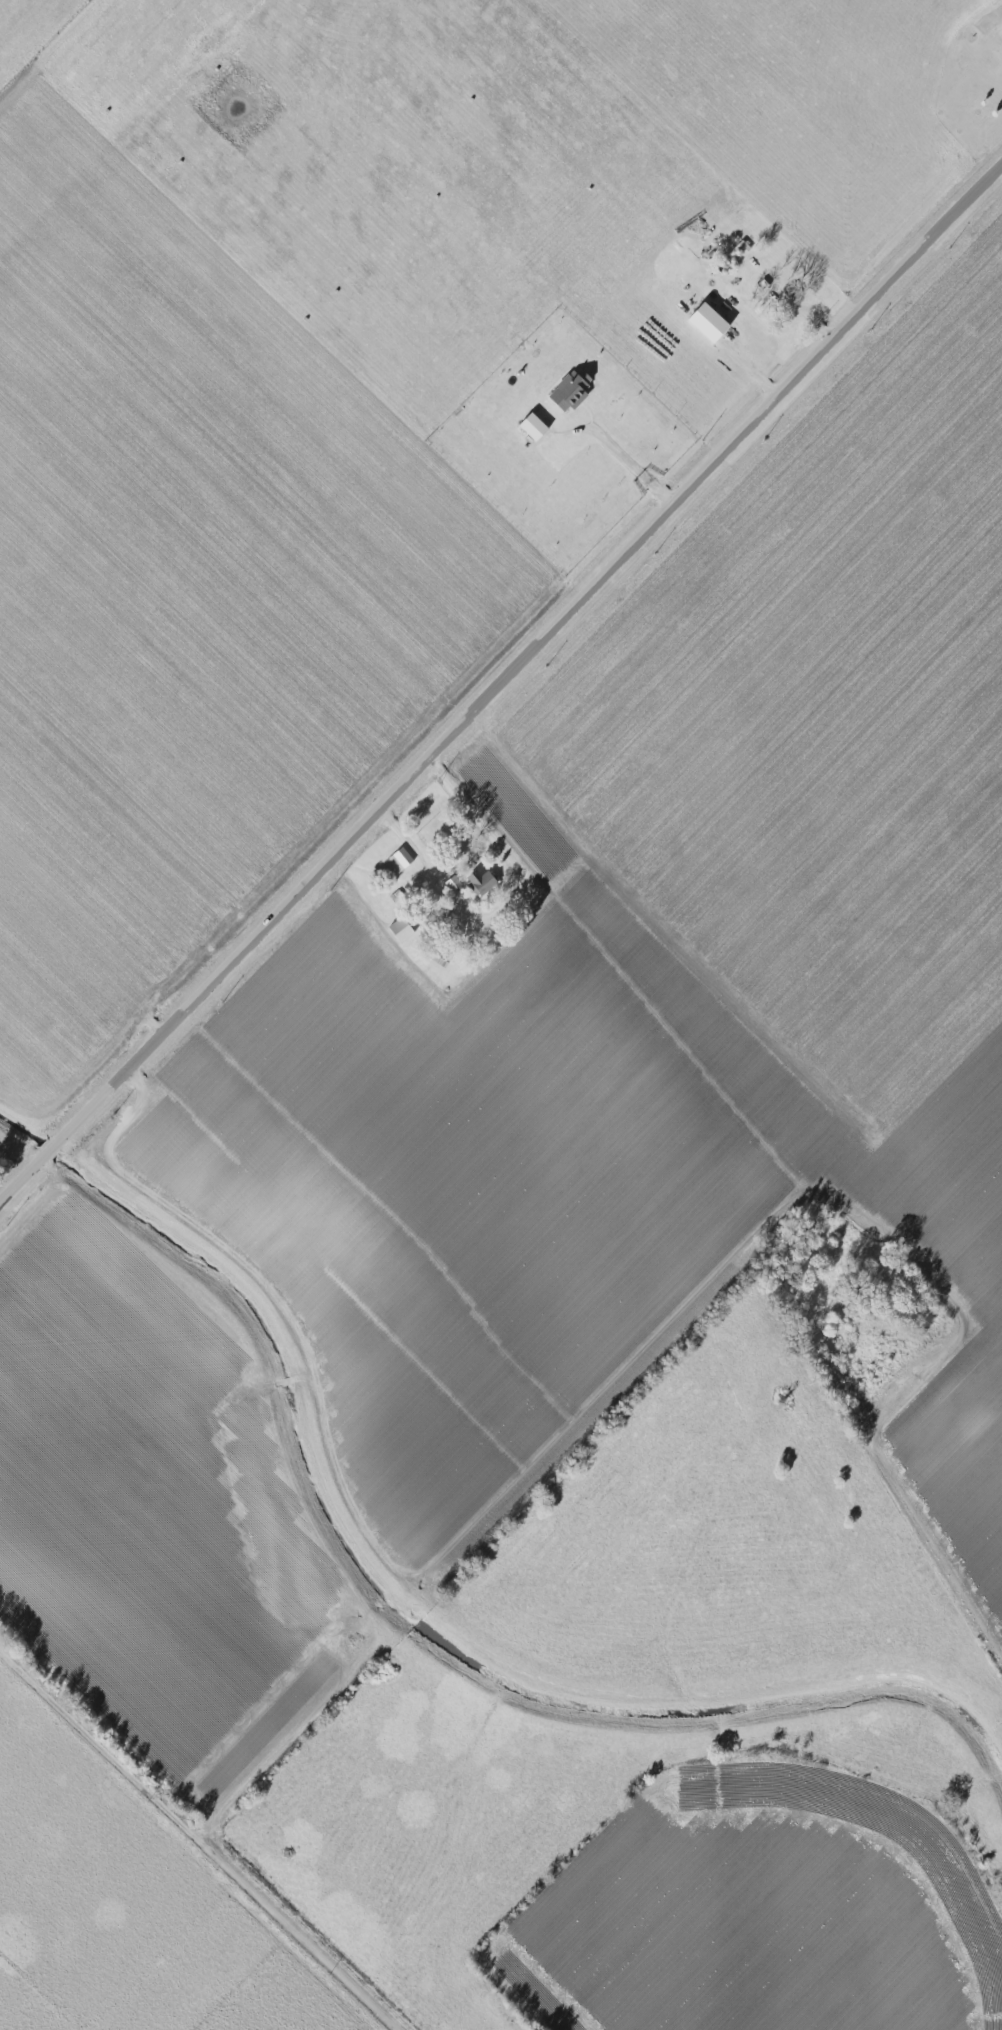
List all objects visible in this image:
building: (997, 39)
building: (708, 322)
building: (570, 390)
building: (533, 426)
road: (634, 462)
road: (500, 682)
building: (400, 859)
building: (480, 882)
building: (453, 883)
building: (400, 929)
road: (196, 1839)

